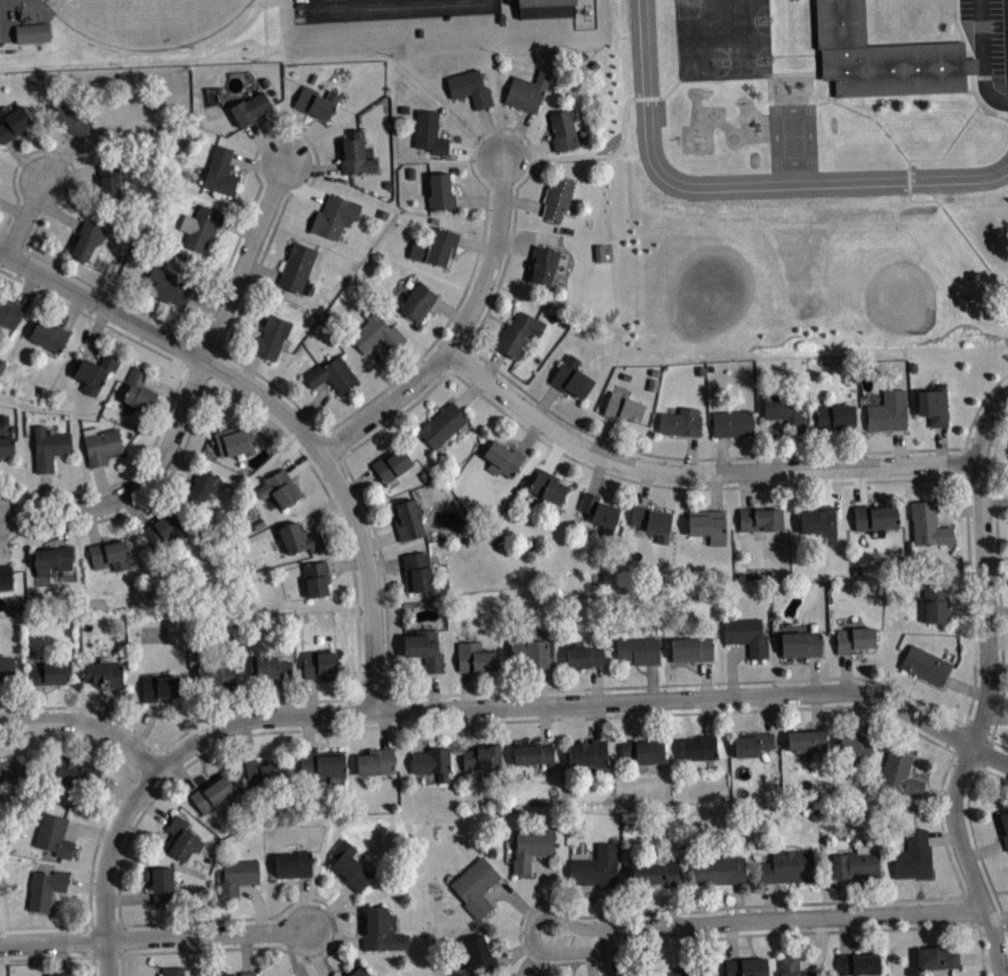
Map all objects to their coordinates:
road: (401, 4)
road: (445, 4)
road: (355, 5)
building: (546, 7)
parking lot: (381, 9)
road: (400, 9)
park: (147, 20)
building: (1, 37)
building: (35, 39)
parking lot: (988, 46)
road: (970, 50)
road: (795, 54)
building: (881, 56)
road: (984, 56)
road: (819, 60)
building: (469, 88)
building: (527, 92)
road: (771, 96)
building: (316, 102)
building: (250, 109)
road: (993, 110)
road: (876, 119)
building: (73, 120)
building: (12, 121)
building: (562, 130)
building: (429, 132)
road: (613, 153)
building: (354, 155)
building: (219, 171)
building: (108, 179)
road: (745, 186)
building: (0, 187)
building: (439, 193)
building: (556, 197)
road: (913, 199)
building: (332, 217)
road: (28, 222)
building: (203, 229)
building: (86, 240)
building: (435, 247)
building: (542, 264)
building: (297, 268)
building: (167, 286)
building: (417, 301)
road: (103, 308)
building: (9, 313)
building: (375, 333)
building: (517, 333)
building: (48, 336)
road: (459, 336)
building: (270, 337)
building: (93, 371)
building: (331, 375)
road: (398, 377)
building: (571, 378)
building: (138, 390)
road: (175, 391)
road: (192, 399)
road: (1005, 403)
building: (932, 406)
building: (622, 407)
building: (784, 409)
building: (887, 411)
building: (835, 418)
building: (680, 422)
building: (731, 423)
building: (442, 425)
building: (235, 440)
building: (5, 446)
building: (101, 446)
building: (48, 447)
building: (502, 459)
building: (391, 464)
road: (696, 478)
building: (202, 485)
building: (547, 486)
building: (279, 488)
road: (353, 508)
road: (967, 509)
building: (599, 512)
building: (874, 517)
building: (759, 519)
building: (407, 520)
building: (651, 521)
building: (821, 523)
building: (927, 524)
building: (707, 525)
building: (165, 528)
building: (299, 538)
building: (109, 555)
road: (349, 556)
building: (52, 559)
building: (417, 571)
building: (5, 577)
building: (316, 578)
road: (999, 587)
building: (935, 602)
road: (385, 610)
building: (746, 635)
building: (854, 639)
building: (800, 642)
building: (424, 648)
building: (690, 649)
building: (533, 650)
building: (637, 650)
building: (583, 655)
building: (474, 657)
building: (319, 663)
building: (925, 664)
building: (6, 667)
building: (269, 668)
building: (51, 672)
building: (104, 673)
building: (216, 674)
building: (158, 687)
road: (988, 694)
road: (583, 707)
road: (805, 708)
road: (84, 727)
building: (806, 741)
building: (752, 743)
building: (699, 747)
building: (854, 747)
building: (641, 750)
building: (533, 753)
building: (587, 753)
building: (482, 757)
building: (375, 761)
building: (431, 762)
building: (322, 765)
building: (9, 772)
building: (263, 772)
building: (77, 774)
building: (899, 775)
building: (211, 793)
road: (107, 816)
building: (1003, 826)
road: (973, 834)
building: (53, 835)
building: (181, 838)
building: (530, 848)
building: (912, 855)
building: (855, 862)
building: (292, 864)
building: (348, 865)
building: (787, 866)
building: (596, 867)
road: (111, 868)
building: (718, 869)
building: (655, 874)
building: (237, 876)
building: (160, 884)
building: (475, 885)
building: (45, 888)
road: (766, 922)
building: (381, 931)
road: (153, 941)
building: (476, 957)
building: (936, 958)
road: (45, 959)
building: (857, 963)
road: (92, 967)
building: (746, 967)
building: (793, 967)
building: (689, 970)
building: (172, 971)
building: (356, 971)
building: (246, 973)
building: (59, 974)

